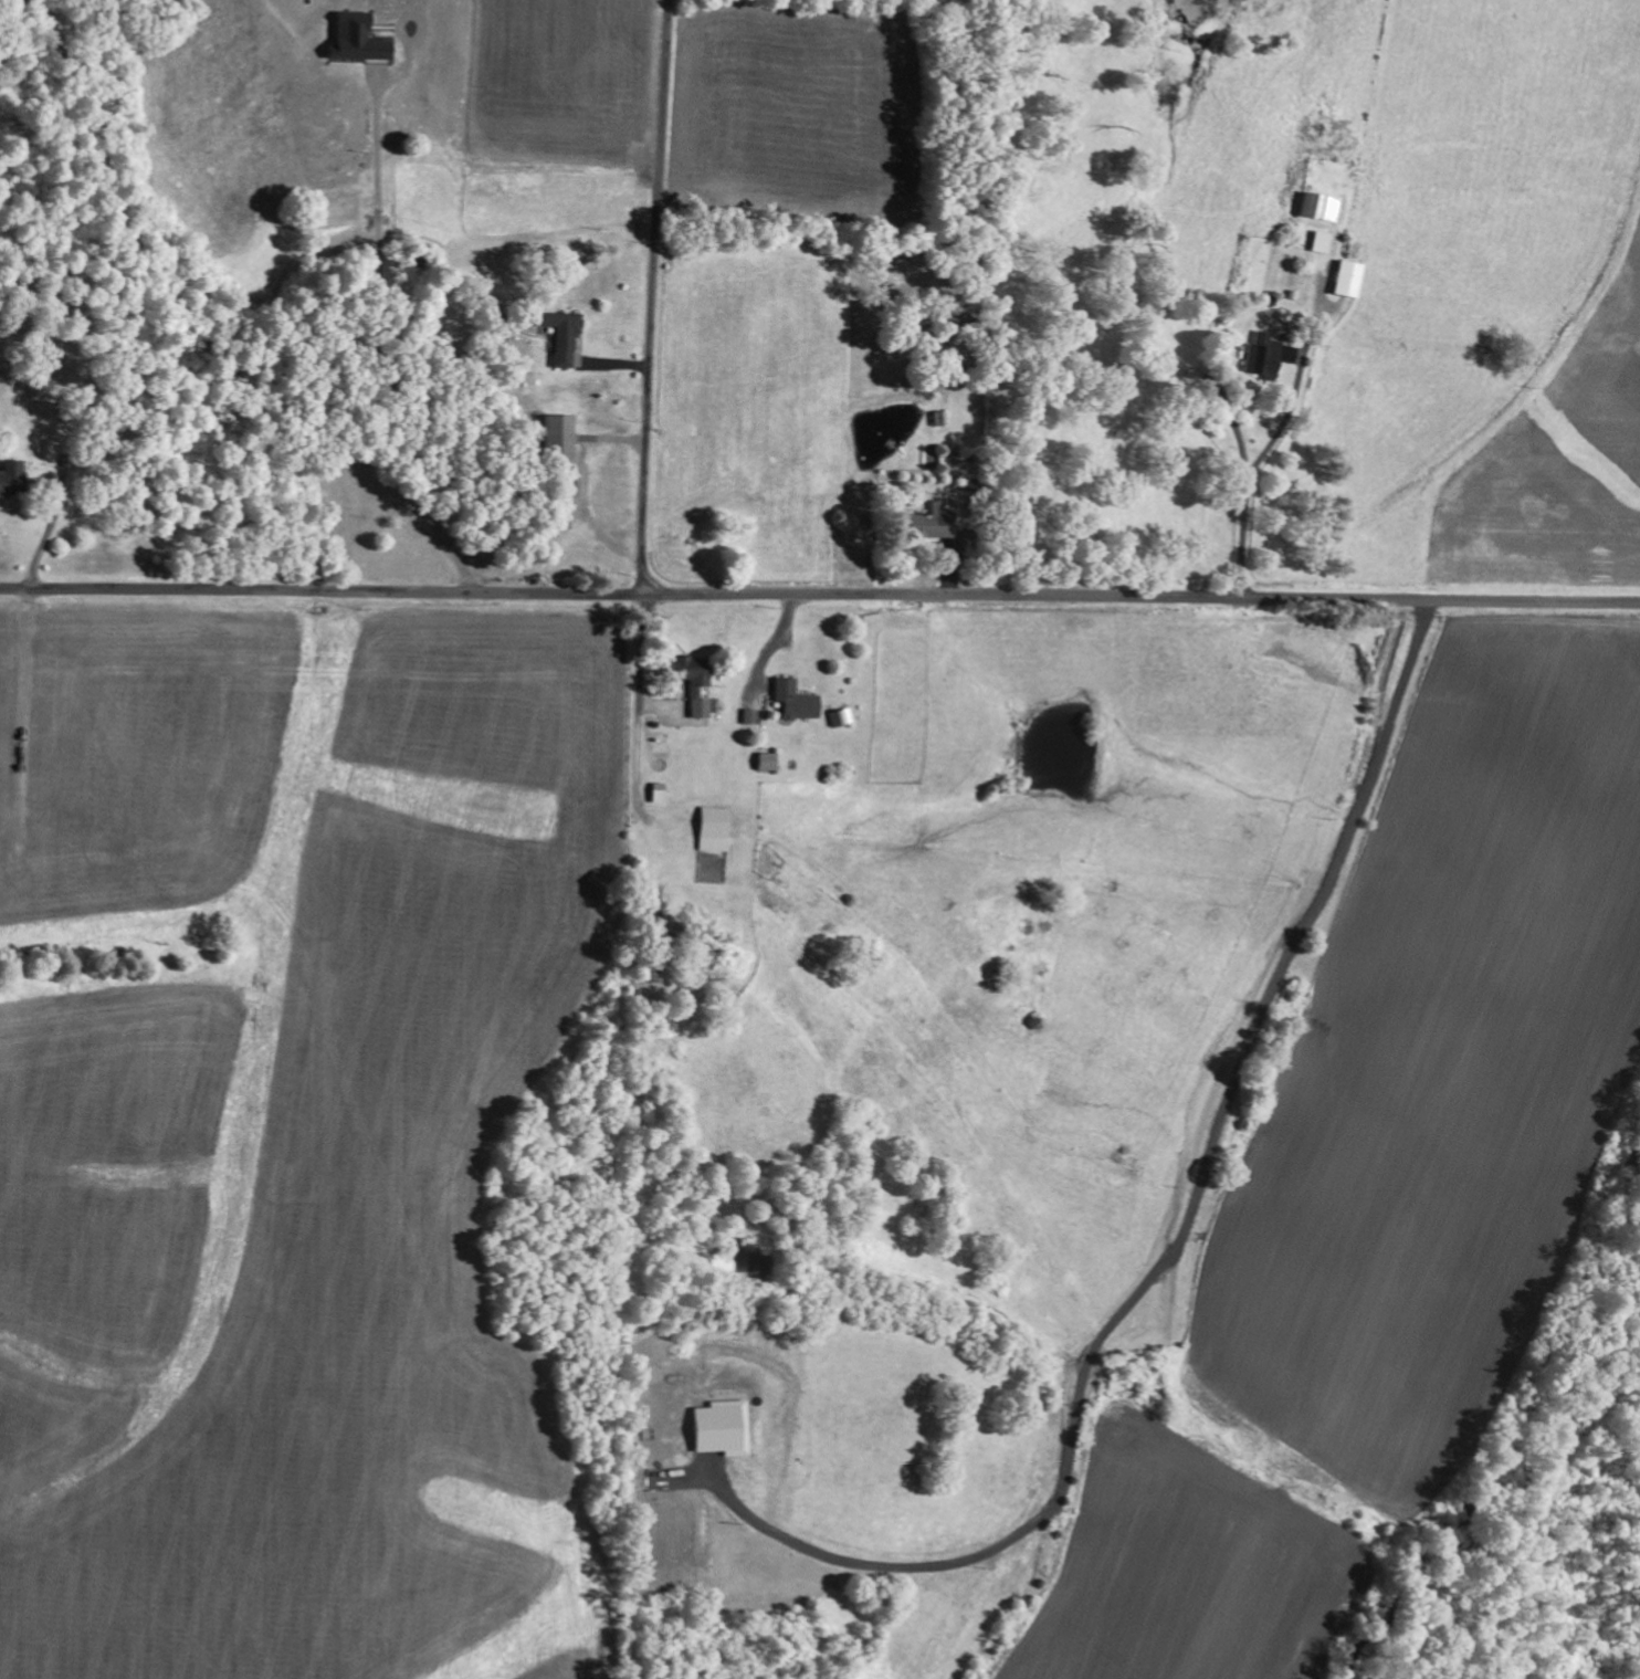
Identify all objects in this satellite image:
building: (364, 40)
building: (1316, 243)
building: (1342, 281)
road: (654, 297)
building: (568, 338)
building: (1265, 356)
building: (938, 420)
building: (567, 436)
building: (927, 525)
road: (820, 596)
building: (690, 685)
building: (791, 701)
building: (748, 717)
building: (839, 717)
building: (765, 763)
building: (658, 794)
building: (714, 829)

